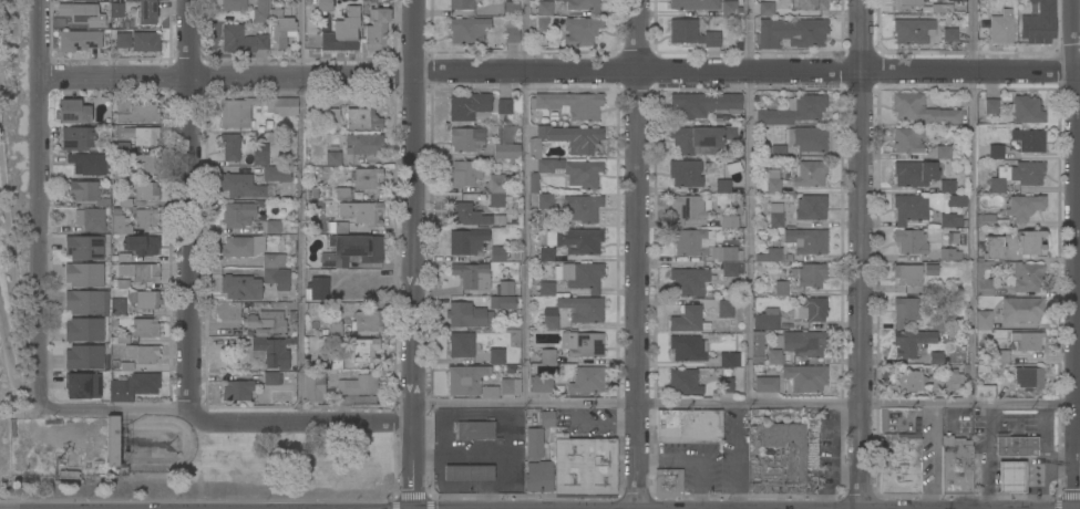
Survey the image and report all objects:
building: (126, 0)
building: (480, 0)
building: (954, 0)
building: (134, 1)
building: (461, 3)
building: (809, 3)
building: (233, 4)
building: (693, 4)
building: (905, 4)
building: (325, 6)
building: (584, 6)
building: (511, 8)
building: (544, 8)
building: (729, 8)
building: (765, 8)
building: (116, 9)
building: (938, 9)
building: (260, 10)
building: (274, 10)
building: (146, 11)
building: (79, 12)
building: (543, 23)
building: (1039, 23)
road: (1074, 28)
building: (377, 29)
building: (469, 29)
building: (512, 29)
building: (999, 29)
building: (580, 30)
building: (913, 30)
building: (282, 32)
building: (342, 32)
building: (691, 32)
building: (792, 32)
building: (949, 34)
building: (122, 39)
building: (79, 40)
building: (241, 40)
building: (145, 41)
road: (560, 73)
building: (704, 103)
building: (568, 104)
building: (470, 105)
building: (504, 105)
building: (990, 105)
building: (923, 108)
building: (1026, 108)
building: (793, 110)
building: (72, 111)
building: (135, 111)
building: (235, 112)
building: (329, 115)
building: (362, 118)
building: (141, 135)
building: (700, 136)
building: (76, 137)
building: (466, 138)
building: (806, 138)
building: (907, 139)
building: (1029, 139)
building: (364, 143)
building: (505, 143)
building: (120, 146)
building: (229, 146)
building: (778, 152)
building: (943, 152)
building: (996, 152)
building: (259, 154)
building: (332, 157)
building: (549, 160)
building: (89, 164)
building: (145, 164)
building: (276, 173)
building: (685, 173)
building: (810, 173)
building: (914, 173)
building: (463, 174)
building: (122, 175)
building: (1014, 176)
building: (367, 178)
building: (773, 180)
building: (496, 183)
building: (245, 186)
building: (722, 186)
building: (947, 186)
building: (144, 190)
building: (86, 191)
building: (342, 194)
building: (496, 199)
building: (956, 200)
road: (40, 201)
road: (527, 201)
building: (544, 201)
road: (751, 201)
road: (975, 202)
road: (189, 205)
building: (1022, 206)
building: (582, 207)
building: (811, 207)
park: (14, 208)
building: (688, 208)
building: (909, 208)
road: (302, 211)
building: (361, 211)
road: (412, 211)
building: (237, 214)
building: (466, 215)
building: (775, 215)
building: (146, 217)
building: (90, 219)
building: (949, 220)
building: (989, 220)
building: (729, 221)
building: (119, 225)
building: (271, 226)
building: (340, 227)
building: (953, 237)
building: (465, 240)
building: (575, 240)
building: (806, 240)
building: (689, 241)
building: (909, 241)
building: (1030, 242)
building: (142, 245)
building: (241, 246)
building: (83, 247)
building: (352, 249)
building: (497, 253)
building: (546, 253)
road: (637, 254)
building: (769, 254)
road: (861, 254)
building: (949, 254)
building: (120, 257)
building: (274, 260)
building: (731, 261)
building: (1009, 266)
building: (930, 269)
building: (140, 271)
building: (83, 274)
building: (809, 274)
building: (907, 274)
building: (472, 276)
building: (579, 276)
building: (276, 278)
building: (689, 281)
building: (244, 288)
building: (317, 288)
building: (504, 288)
building: (546, 288)
building: (781, 288)
building: (933, 290)
building: (145, 299)
building: (86, 301)
building: (501, 302)
building: (117, 307)
building: (583, 308)
building: (724, 309)
building: (1021, 309)
building: (811, 310)
building: (905, 311)
building: (467, 315)
building: (688, 319)
building: (767, 319)
building: (368, 320)
building: (983, 320)
building: (267, 321)
building: (937, 321)
building: (549, 322)
building: (144, 328)
building: (335, 328)
building: (83, 329)
building: (123, 339)
building: (1029, 341)
building: (801, 342)
building: (757, 343)
building: (908, 343)
building: (462, 344)
building: (584, 344)
building: (688, 347)
building: (363, 349)
building: (272, 351)
building: (936, 352)
building: (142, 353)
building: (547, 355)
building: (1001, 355)
building: (83, 356)
building: (496, 356)
building: (774, 356)
road: (9, 363)
building: (329, 363)
building: (115, 364)
building: (127, 366)
building: (728, 370)
building: (271, 377)
building: (805, 377)
building: (1028, 377)
building: (464, 380)
building: (586, 380)
building: (926, 381)
building: (683, 382)
building: (539, 383)
building: (358, 384)
building: (765, 384)
building: (82, 385)
building: (133, 386)
building: (510, 386)
building: (313, 387)
building: (236, 389)
building: (986, 389)
building: (488, 392)
road: (745, 405)
road: (223, 423)
road: (594, 425)
building: (688, 425)
building: (474, 430)
building: (539, 434)
road: (1040, 435)
building: (112, 440)
building: (1015, 445)
building: (786, 446)
road: (737, 457)
road: (983, 457)
building: (899, 464)
building: (956, 464)
road: (411, 465)
building: (584, 465)
road: (1039, 467)
building: (469, 472)
building: (69, 474)
building: (538, 476)
building: (1010, 476)
building: (668, 482)
traffic signals: (411, 487)

